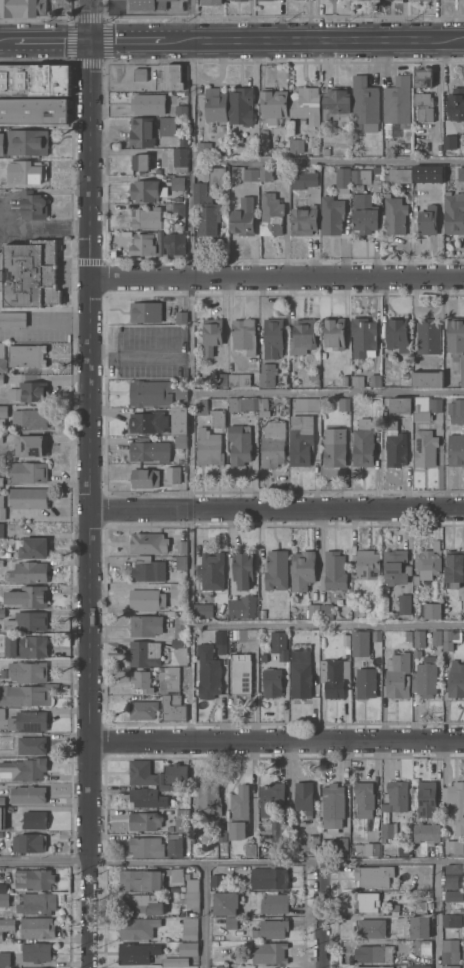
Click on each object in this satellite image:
building: (242, 0)
building: (269, 0)
building: (411, 0)
building: (211, 2)
building: (178, 3)
building: (143, 5)
building: (23, 7)
road: (462, 38)
road: (316, 39)
road: (44, 40)
traffic signals: (89, 40)
road: (130, 40)
building: (140, 74)
building: (170, 77)
building: (423, 77)
building: (35, 80)
building: (364, 102)
building: (397, 103)
building: (455, 103)
building: (148, 104)
building: (305, 104)
building: (336, 104)
building: (215, 105)
building: (272, 105)
building: (241, 106)
building: (424, 106)
building: (34, 110)
building: (181, 110)
building: (167, 126)
building: (391, 129)
building: (142, 131)
building: (182, 140)
building: (263, 141)
building: (449, 141)
building: (26, 142)
building: (2, 144)
building: (296, 146)
building: (203, 148)
building: (253, 148)
building: (217, 150)
building: (315, 150)
building: (325, 151)
building: (180, 159)
road: (326, 161)
building: (2, 162)
building: (140, 162)
building: (158, 171)
building: (27, 172)
building: (202, 173)
building: (265, 173)
building: (283, 173)
building: (427, 173)
building: (462, 173)
building: (250, 174)
building: (398, 175)
building: (360, 176)
building: (217, 177)
building: (303, 179)
building: (376, 179)
building: (342, 180)
building: (177, 183)
building: (357, 187)
building: (144, 190)
building: (202, 193)
building: (32, 205)
building: (178, 209)
building: (453, 213)
building: (271, 214)
building: (364, 214)
building: (331, 215)
building: (394, 215)
building: (146, 218)
building: (243, 218)
building: (207, 219)
building: (303, 220)
building: (427, 220)
road: (41, 227)
building: (143, 243)
building: (174, 243)
building: (29, 274)
road: (276, 276)
road: (189, 311)
building: (145, 312)
building: (181, 317)
building: (12, 319)
building: (334, 333)
building: (396, 333)
building: (455, 334)
building: (211, 335)
building: (244, 335)
building: (303, 336)
building: (428, 336)
building: (273, 337)
building: (363, 337)
building: (26, 355)
building: (323, 355)
building: (2, 360)
building: (461, 367)
road: (88, 370)
building: (323, 373)
building: (405, 375)
building: (314, 378)
building: (1, 379)
building: (220, 379)
building: (266, 379)
building: (427, 379)
building: (239, 380)
building: (375, 380)
building: (345, 381)
building: (356, 381)
building: (32, 391)
building: (150, 393)
building: (180, 394)
road: (326, 394)
building: (243, 404)
building: (312, 404)
building: (343, 404)
building: (264, 405)
building: (400, 405)
building: (436, 405)
building: (201, 407)
building: (421, 409)
building: (3, 411)
building: (456, 411)
building: (34, 418)
building: (218, 418)
building: (179, 421)
building: (148, 422)
building: (390, 425)
building: (7, 426)
building: (1, 437)
building: (180, 439)
building: (300, 440)
building: (363, 443)
building: (239, 444)
building: (273, 444)
building: (30, 445)
building: (208, 447)
building: (333, 448)
building: (425, 448)
building: (395, 449)
building: (148, 450)
building: (456, 450)
building: (179, 469)
building: (27, 471)
building: (144, 478)
building: (1, 481)
building: (169, 482)
building: (28, 498)
road: (275, 506)
building: (2, 508)
building: (1, 530)
building: (147, 543)
building: (182, 546)
building: (31, 547)
building: (181, 562)
building: (428, 562)
building: (366, 565)
building: (395, 567)
building: (242, 568)
building: (454, 568)
building: (148, 569)
building: (275, 570)
building: (302, 570)
building: (211, 571)
building: (335, 571)
building: (29, 572)
building: (176, 590)
building: (28, 596)
building: (145, 596)
building: (404, 604)
building: (175, 607)
building: (243, 607)
building: (202, 609)
building: (386, 609)
building: (432, 610)
building: (326, 611)
building: (313, 612)
building: (2, 613)
building: (262, 613)
building: (28, 621)
road: (326, 623)
building: (145, 625)
building: (180, 627)
building: (251, 634)
building: (375, 635)
building: (436, 637)
building: (205, 638)
building: (313, 638)
building: (419, 638)
building: (451, 638)
building: (345, 639)
building: (220, 641)
building: (178, 643)
building: (360, 643)
building: (26, 646)
building: (144, 653)
building: (416, 653)
building: (283, 654)
building: (160, 669)
building: (27, 671)
building: (208, 672)
building: (3, 673)
building: (241, 674)
building: (300, 674)
building: (398, 675)
building: (332, 677)
building: (456, 679)
building: (142, 680)
building: (173, 680)
building: (424, 680)
road: (187, 681)
building: (272, 682)
building: (365, 682)
building: (25, 694)
building: (155, 697)
building: (173, 707)
building: (142, 709)
building: (2, 714)
building: (28, 721)
building: (4, 736)
road: (276, 738)
building: (32, 745)
building: (23, 769)
building: (143, 773)
building: (176, 773)
building: (164, 787)
building: (28, 794)
building: (147, 797)
building: (304, 797)
building: (396, 797)
building: (209, 798)
building: (270, 798)
building: (364, 799)
building: (426, 799)
building: (171, 800)
building: (2, 801)
building: (456, 803)
building: (332, 805)
building: (239, 812)
building: (2, 818)
building: (34, 820)
building: (181, 820)
building: (144, 821)
building: (169, 828)
building: (387, 831)
building: (426, 832)
building: (284, 833)
building: (1, 834)
building: (221, 835)
building: (313, 841)
building: (29, 842)
building: (342, 843)
building: (174, 845)
building: (146, 847)
building: (449, 847)
building: (249, 849)
building: (372, 849)
building: (403, 850)
road: (87, 854)
road: (232, 862)
building: (180, 873)
building: (373, 876)
building: (452, 876)
building: (268, 878)
building: (34, 879)
building: (138, 880)
building: (216, 880)
building: (3, 888)
building: (454, 896)
building: (191, 899)
building: (4, 900)
building: (366, 902)
building: (225, 903)
building: (274, 903)
building: (37, 904)
building: (139, 905)
building: (420, 907)
building: (193, 914)
road: (438, 914)
road: (204, 915)
road: (317, 915)
building: (449, 919)
building: (230, 923)
building: (418, 925)
building: (7, 926)
building: (369, 927)
building: (37, 928)
building: (137, 928)
building: (189, 929)
building: (270, 929)
building: (463, 939)
building: (422, 946)
building: (187, 949)
building: (450, 950)
building: (373, 951)
building: (36, 952)
building: (137, 953)
building: (268, 953)
building: (225, 956)
building: (5, 959)
building: (174, 961)
building: (416, 965)
building: (450, 966)
building: (17, 967)
building: (221, 967)
building: (372, 967)

